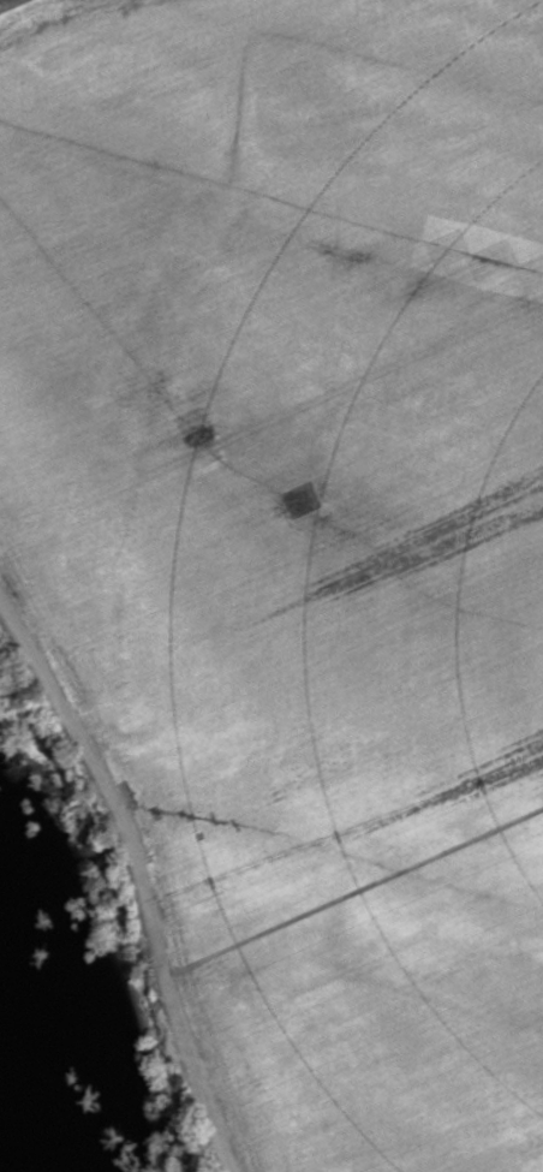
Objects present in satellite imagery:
road: (127, 887)

